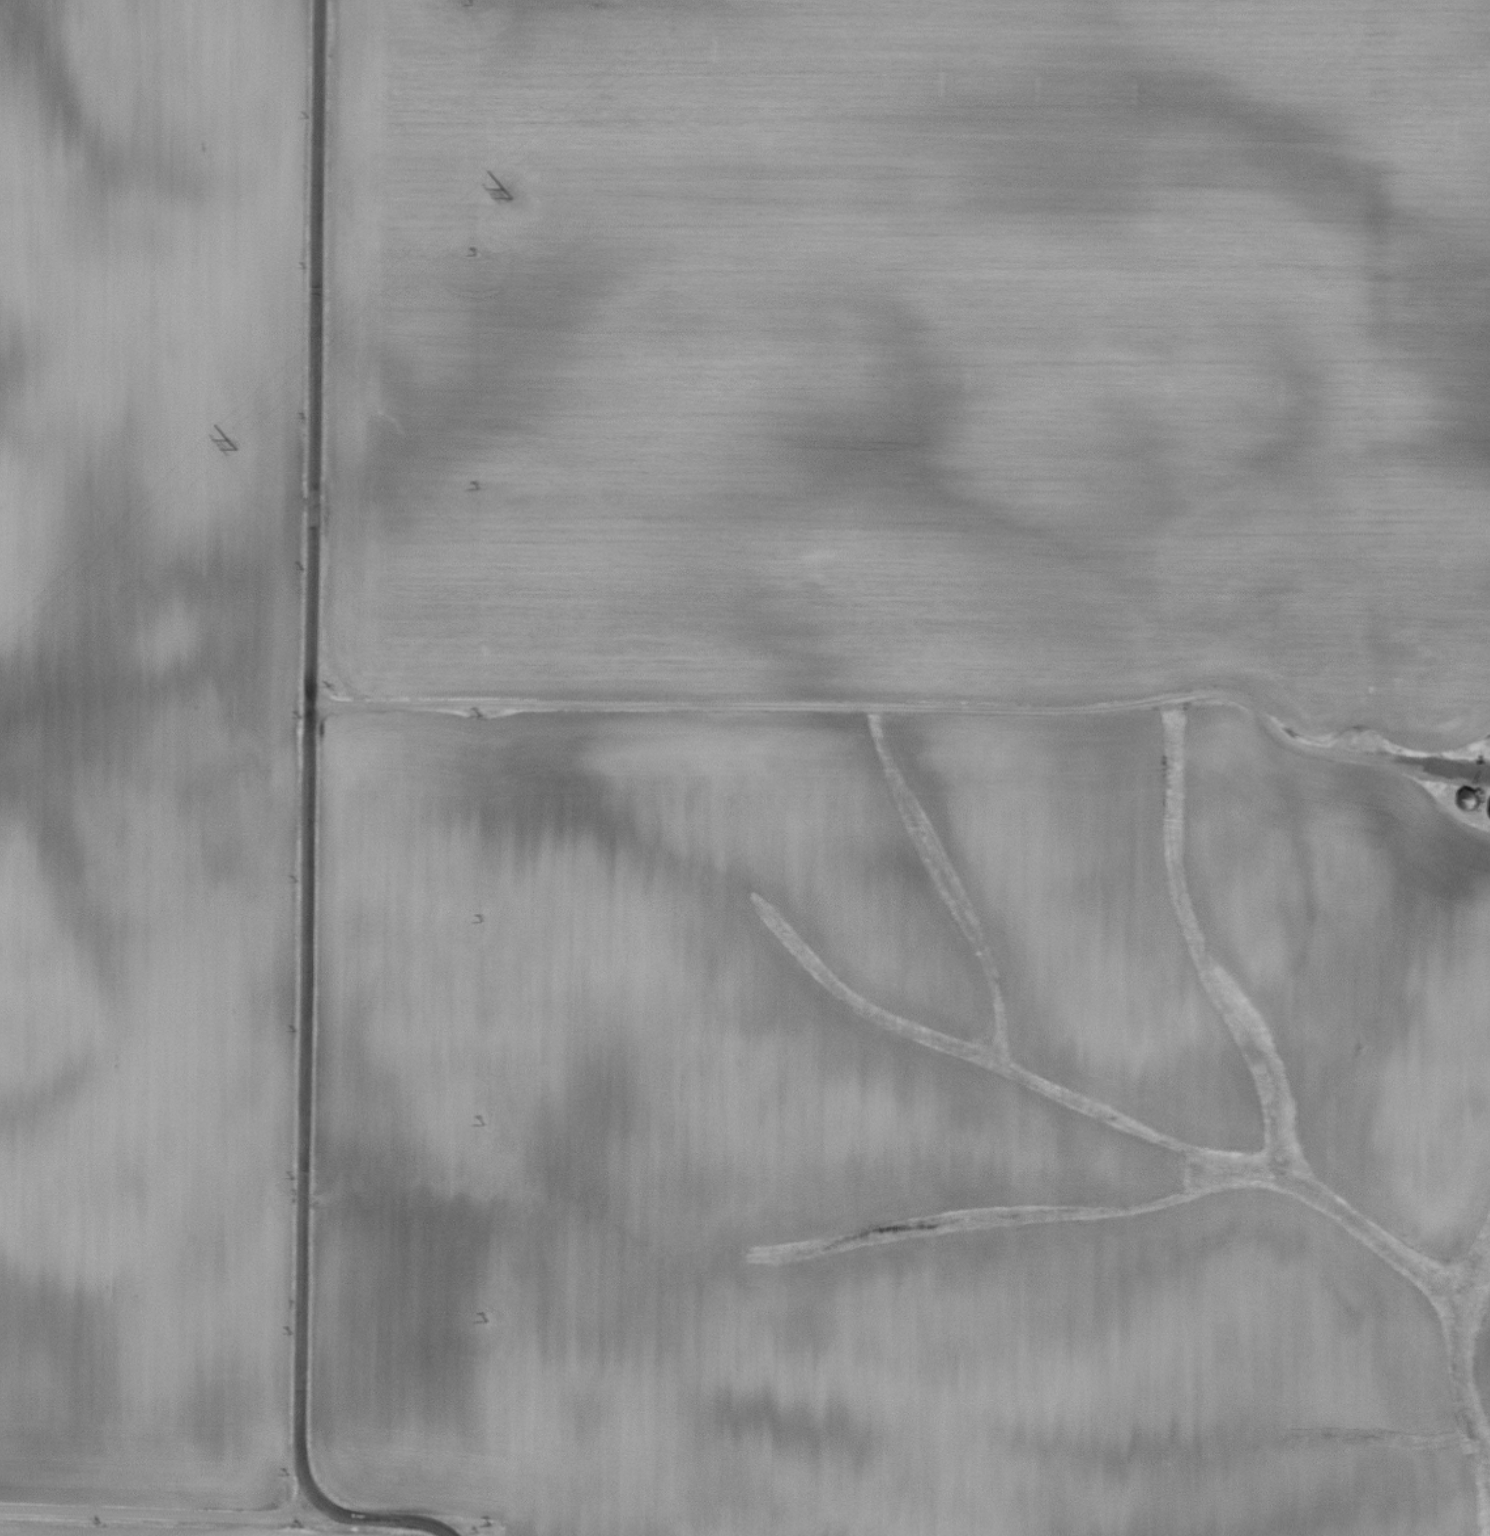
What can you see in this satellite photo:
power tower: (510, 196)
power tower: (233, 445)
road: (311, 759)
road: (152, 1515)
road: (379, 1519)

